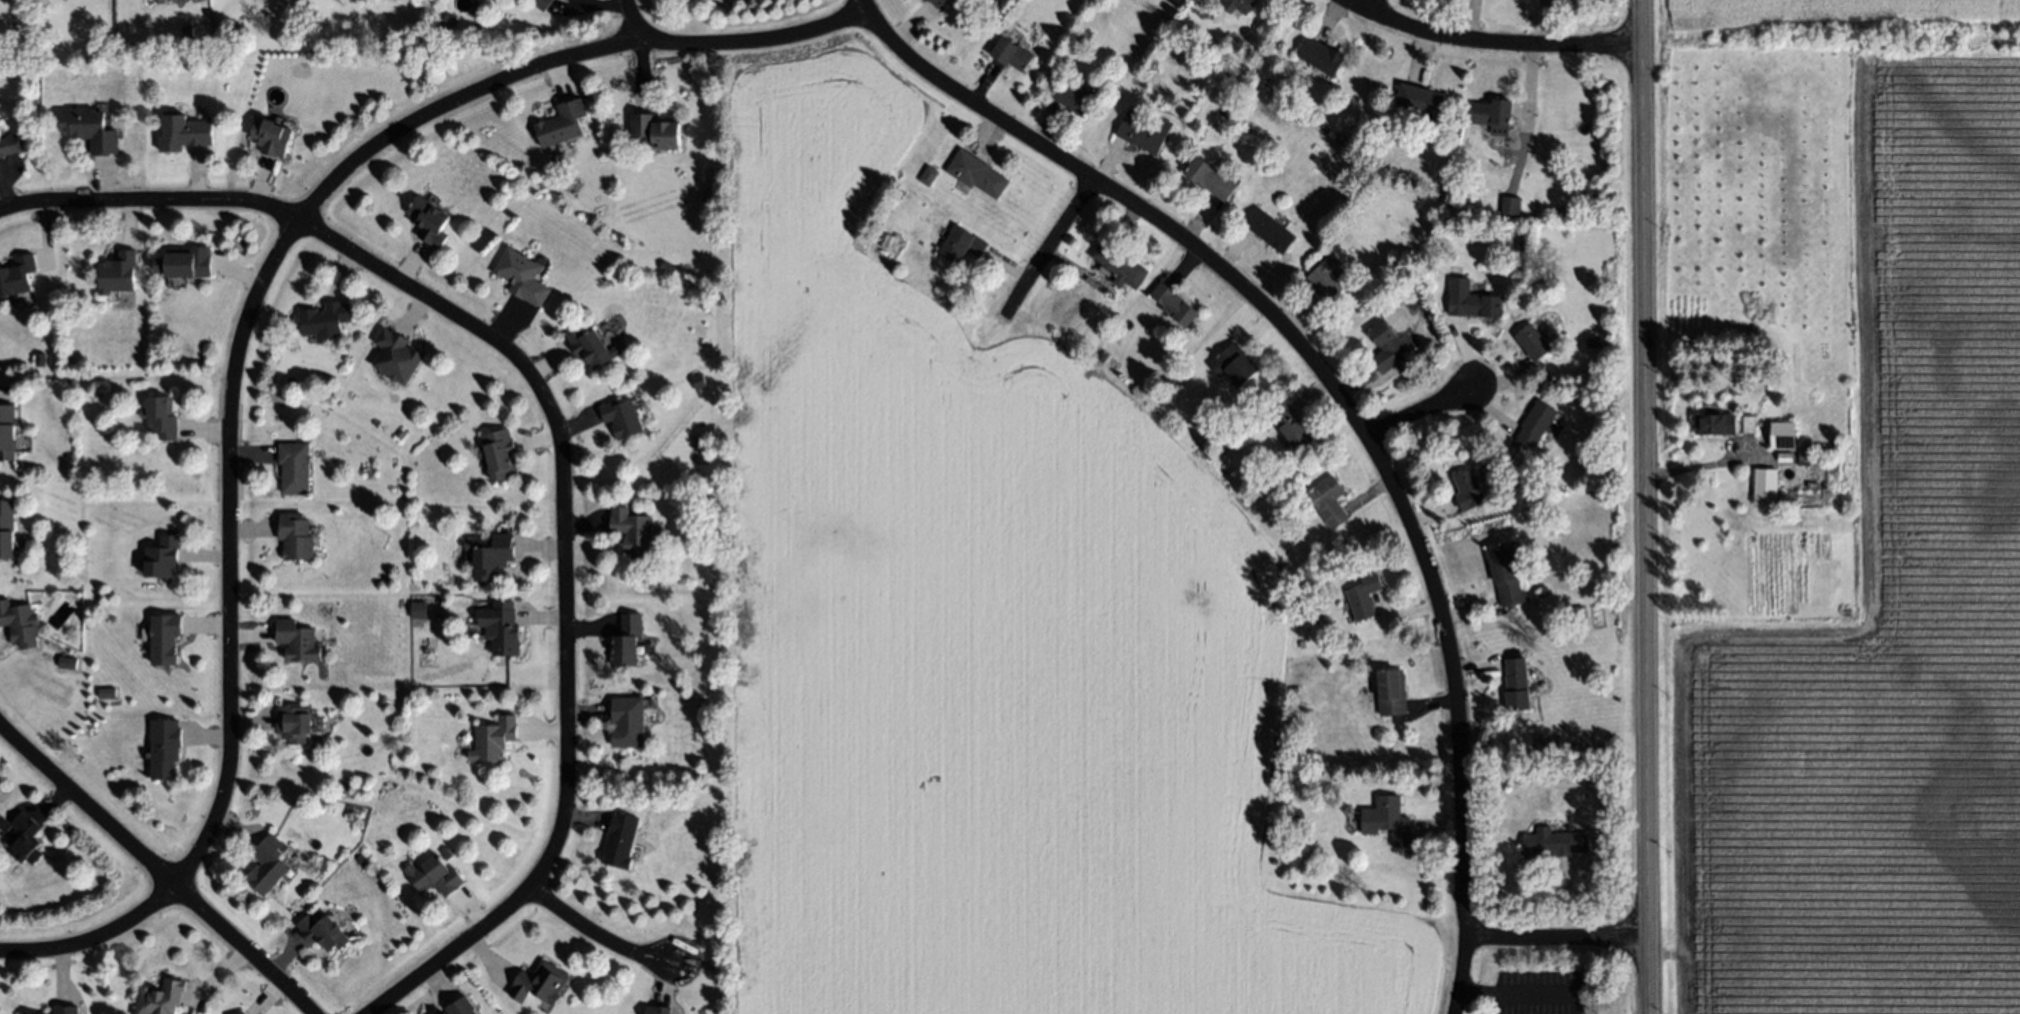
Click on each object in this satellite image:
building: (938, 2)
road: (1369, 3)
building: (542, 4)
building: (1238, 5)
building: (509, 15)
building: (186, 32)
road: (1493, 43)
road: (739, 44)
building: (1011, 54)
building: (1321, 56)
building: (1245, 70)
building: (1077, 96)
building: (1419, 99)
building: (1230, 107)
building: (1132, 112)
building: (1493, 115)
building: (562, 122)
building: (657, 129)
building: (89, 130)
building: (184, 133)
building: (1144, 133)
building: (272, 137)
building: (9, 144)
building: (1317, 160)
building: (977, 172)
building: (928, 175)
building: (1209, 178)
building: (1510, 204)
building: (430, 221)
building: (1269, 230)
building: (961, 244)
building: (1521, 248)
road: (1050, 249)
building: (187, 260)
building: (1119, 263)
building: (667, 267)
building: (117, 273)
building: (16, 275)
building: (523, 275)
building: (1327, 277)
building: (1472, 300)
building: (1174, 304)
building: (325, 320)
building: (1532, 342)
building: (1592, 342)
building: (591, 348)
building: (1386, 348)
building: (396, 355)
building: (40, 360)
building: (1233, 363)
building: (699, 381)
road: (1344, 403)
road: (1422, 410)
building: (160, 418)
building: (622, 418)
building: (1535, 423)
building: (1748, 423)
building: (1715, 424)
building: (1290, 426)
building: (7, 433)
building: (1783, 436)
road: (562, 443)
building: (1839, 445)
road: (228, 449)
building: (500, 454)
building: (1785, 457)
building: (1813, 459)
road: (1706, 463)
building: (293, 467)
building: (1766, 486)
building: (1468, 490)
building: (1329, 501)
road: (1646, 507)
building: (6, 529)
building: (632, 530)
crop: (1940, 531)
building: (295, 536)
building: (491, 555)
building: (161, 556)
building: (1504, 574)
building: (1543, 591)
building: (1363, 597)
building: (1578, 608)
building: (419, 609)
building: (19, 622)
building: (502, 627)
building: (165, 638)
building: (297, 641)
building: (627, 641)
crop: (984, 645)
building: (67, 663)
building: (1516, 685)
building: (1393, 691)
building: (629, 721)
building: (294, 722)
building: (494, 739)
building: (165, 748)
building: (1581, 785)
building: (1390, 819)
building: (23, 836)
building: (620, 840)
building: (1553, 843)
building: (363, 860)
building: (266, 866)
road: (156, 868)
building: (434, 876)
building: (322, 931)
road: (597, 935)
road: (1558, 939)
building: (541, 983)
road: (1525, 993)
building: (160, 997)
road: (1496, 1002)
building: (461, 1006)
building: (65, 1009)
building: (658, 1009)
building: (38, 1013)
building: (241, 1013)

